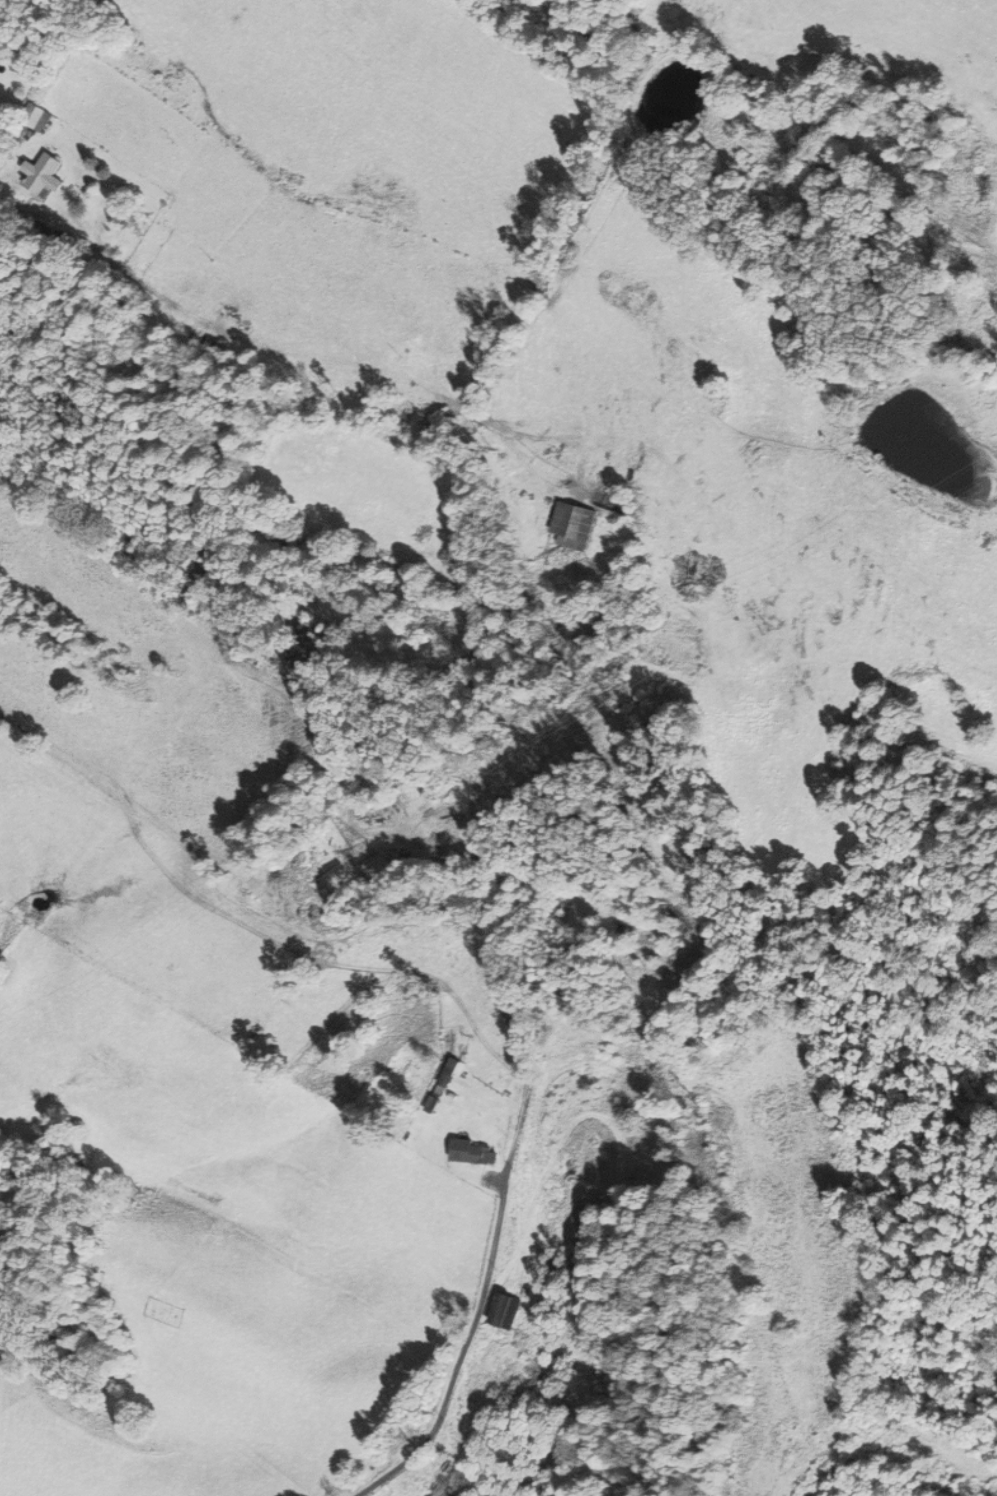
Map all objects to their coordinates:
building: (37, 117)
building: (43, 176)
building: (574, 525)
power tower: (640, 701)
power tower: (381, 854)
building: (474, 1153)
road: (490, 1261)
building: (507, 1309)

